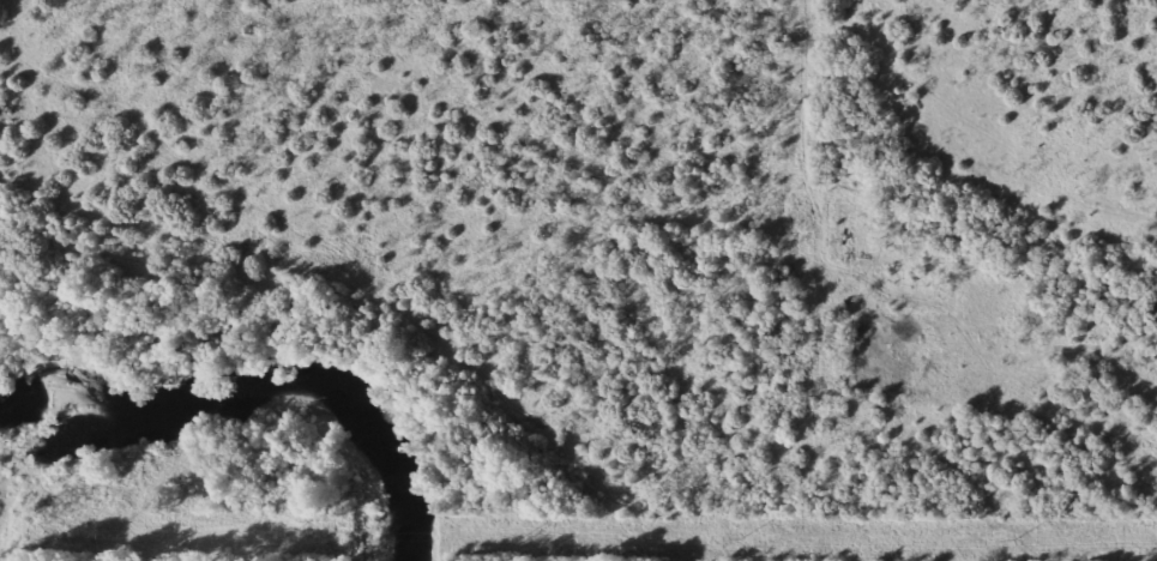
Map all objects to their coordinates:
road: (803, 95)

